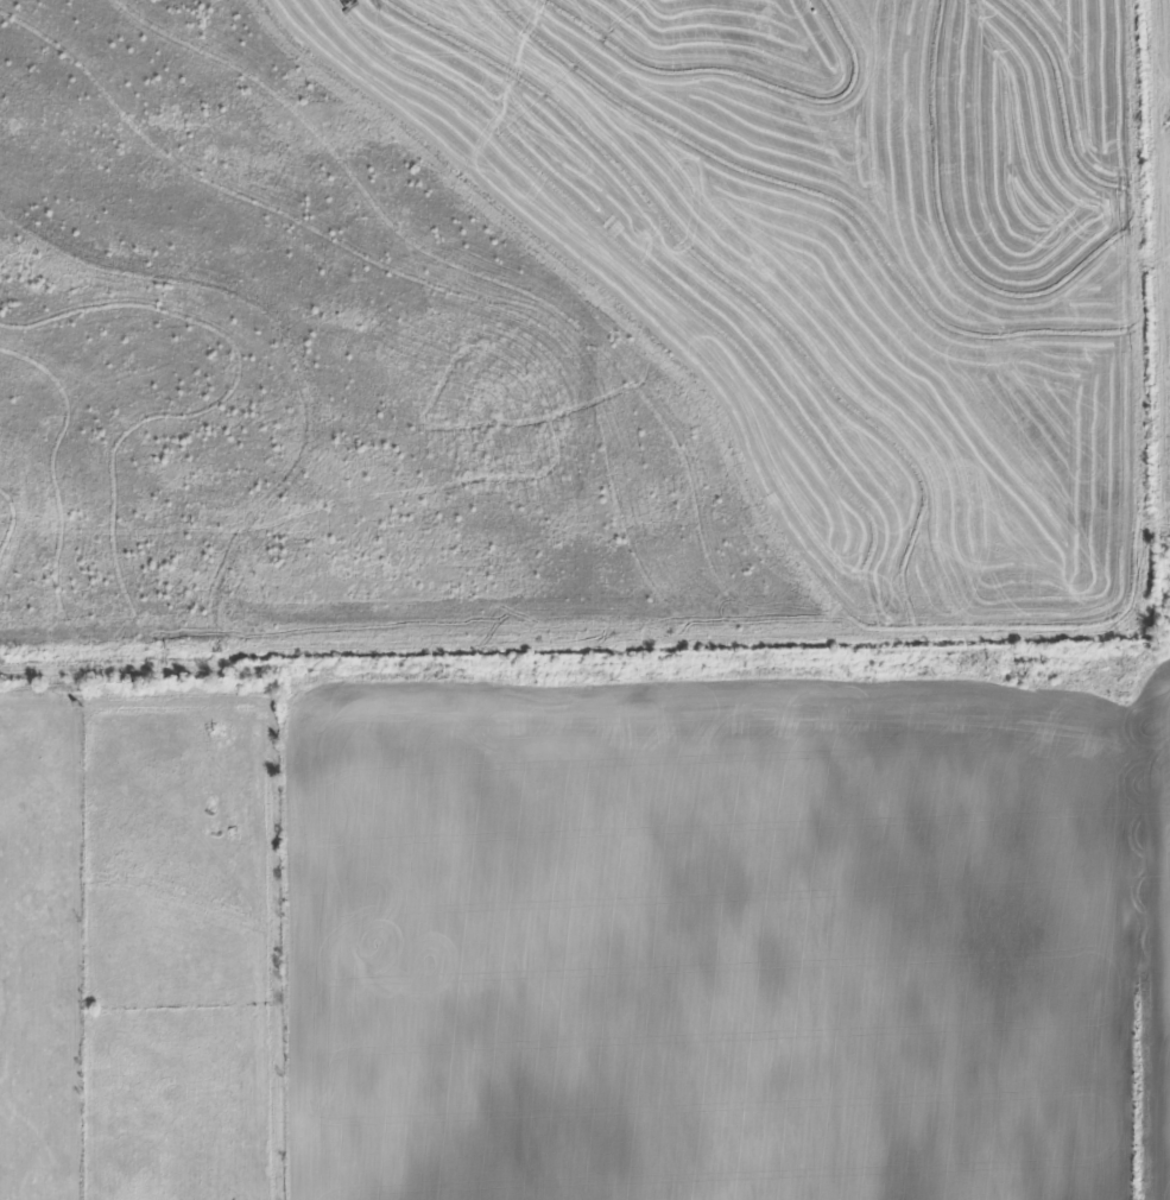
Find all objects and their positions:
road: (584, 642)

